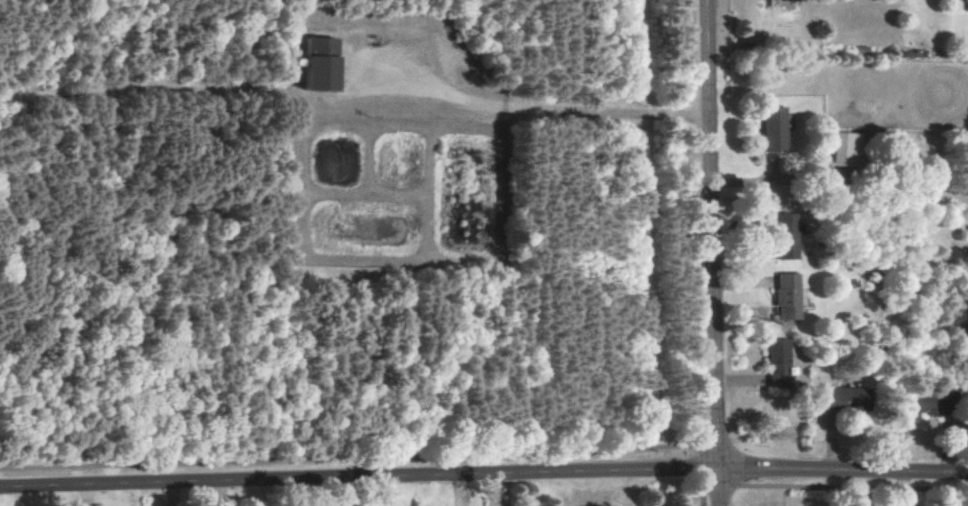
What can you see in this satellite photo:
building: (799, 0)
building: (967, 1)
building: (320, 64)
road: (537, 107)
building: (776, 129)
building: (848, 149)
building: (787, 236)
road: (713, 253)
building: (788, 296)
building: (778, 363)
road: (695, 377)
building: (849, 398)
road: (348, 460)
road: (483, 473)
road: (701, 497)

